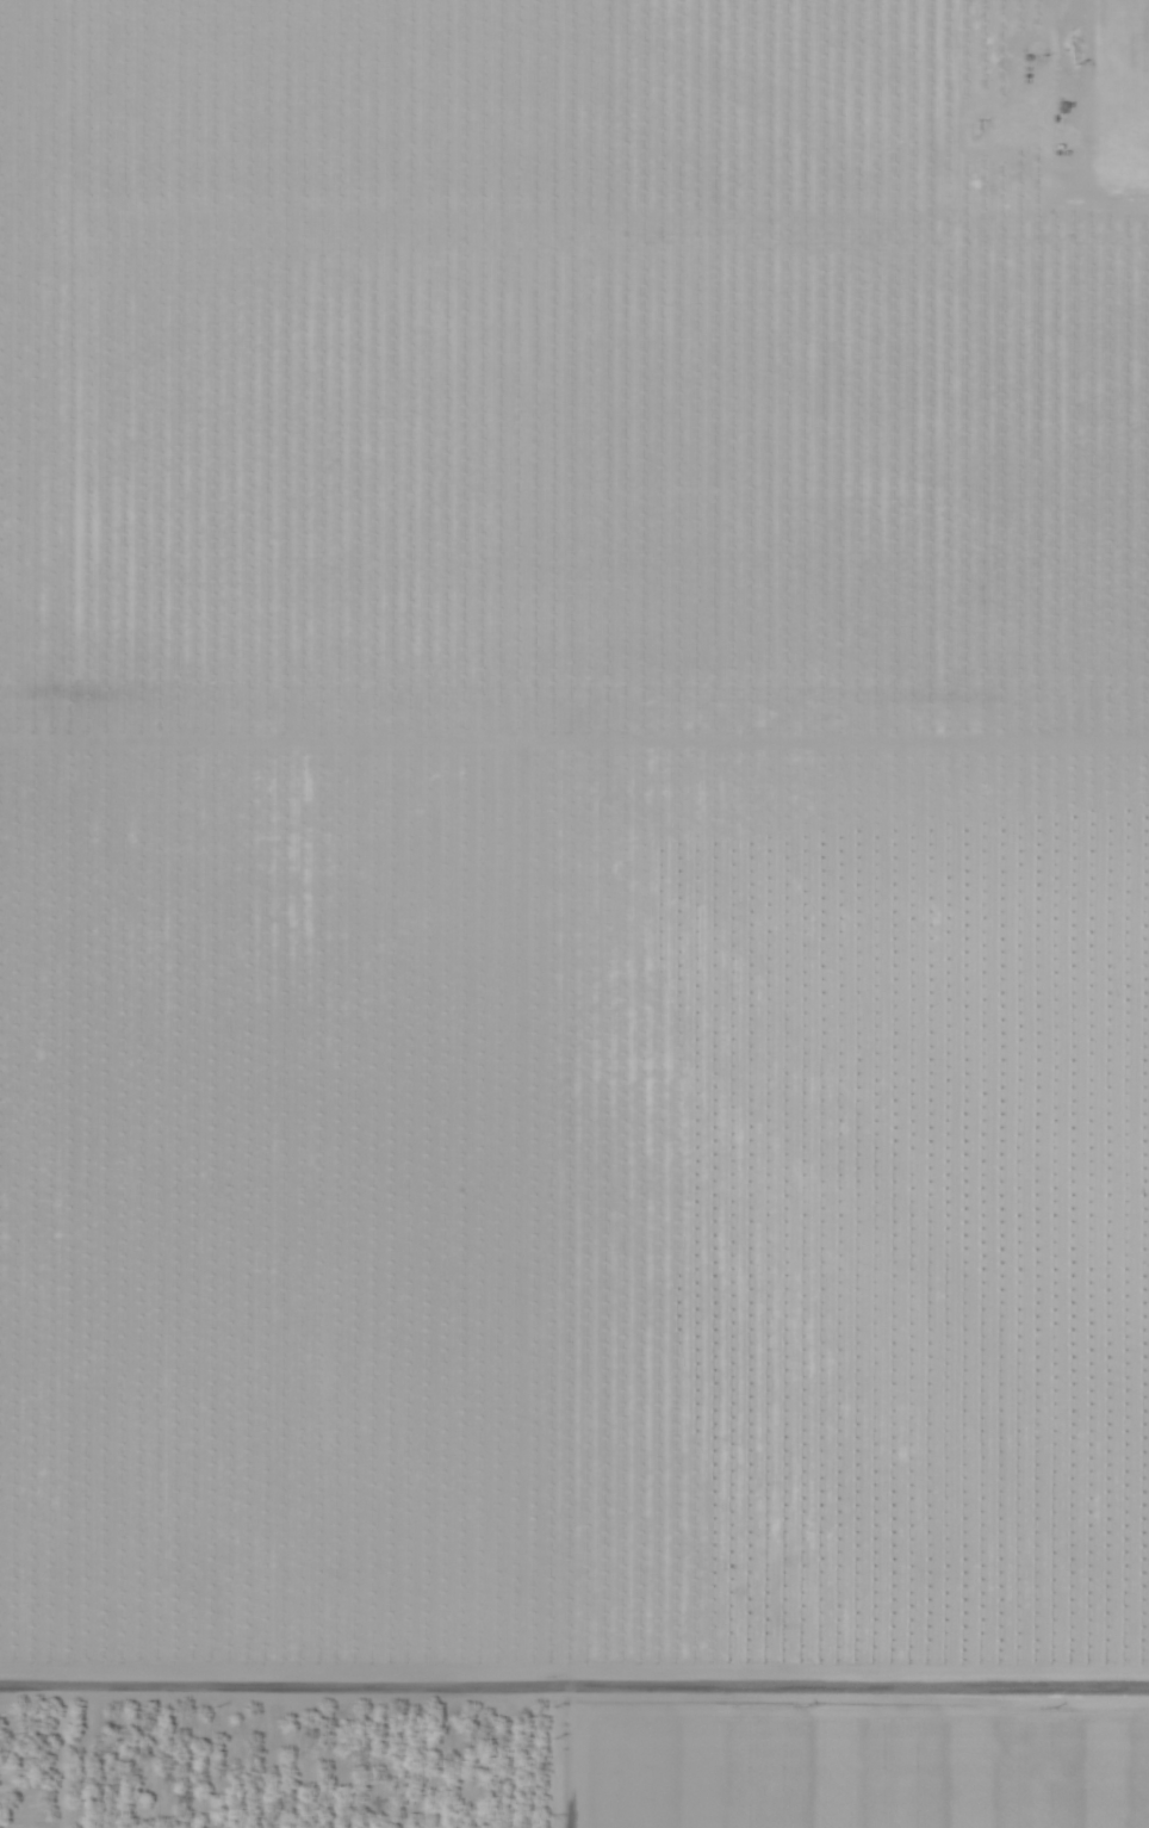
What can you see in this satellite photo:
road: (574, 1687)
crop: (574, 1768)

